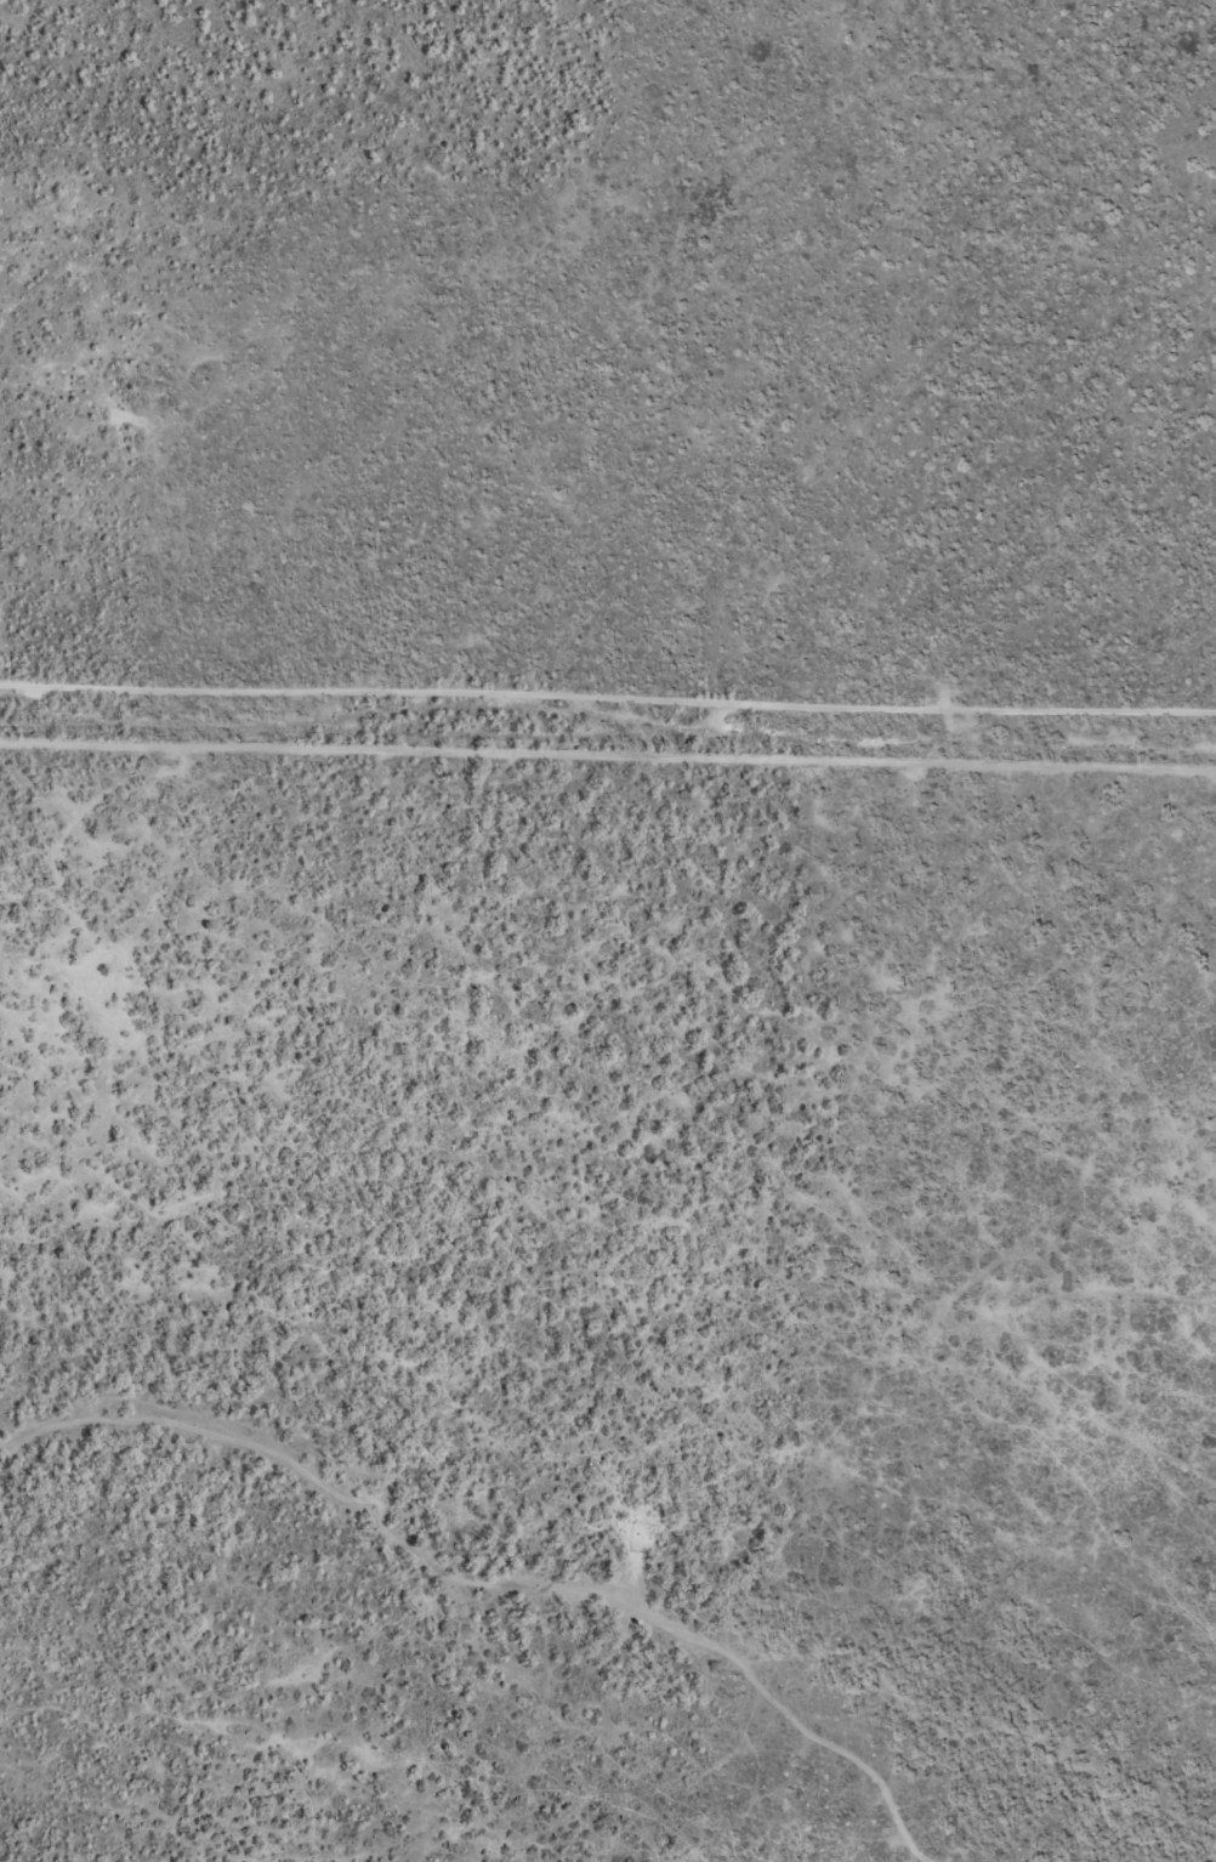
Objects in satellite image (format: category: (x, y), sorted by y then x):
road: (607, 699)
road: (608, 754)

